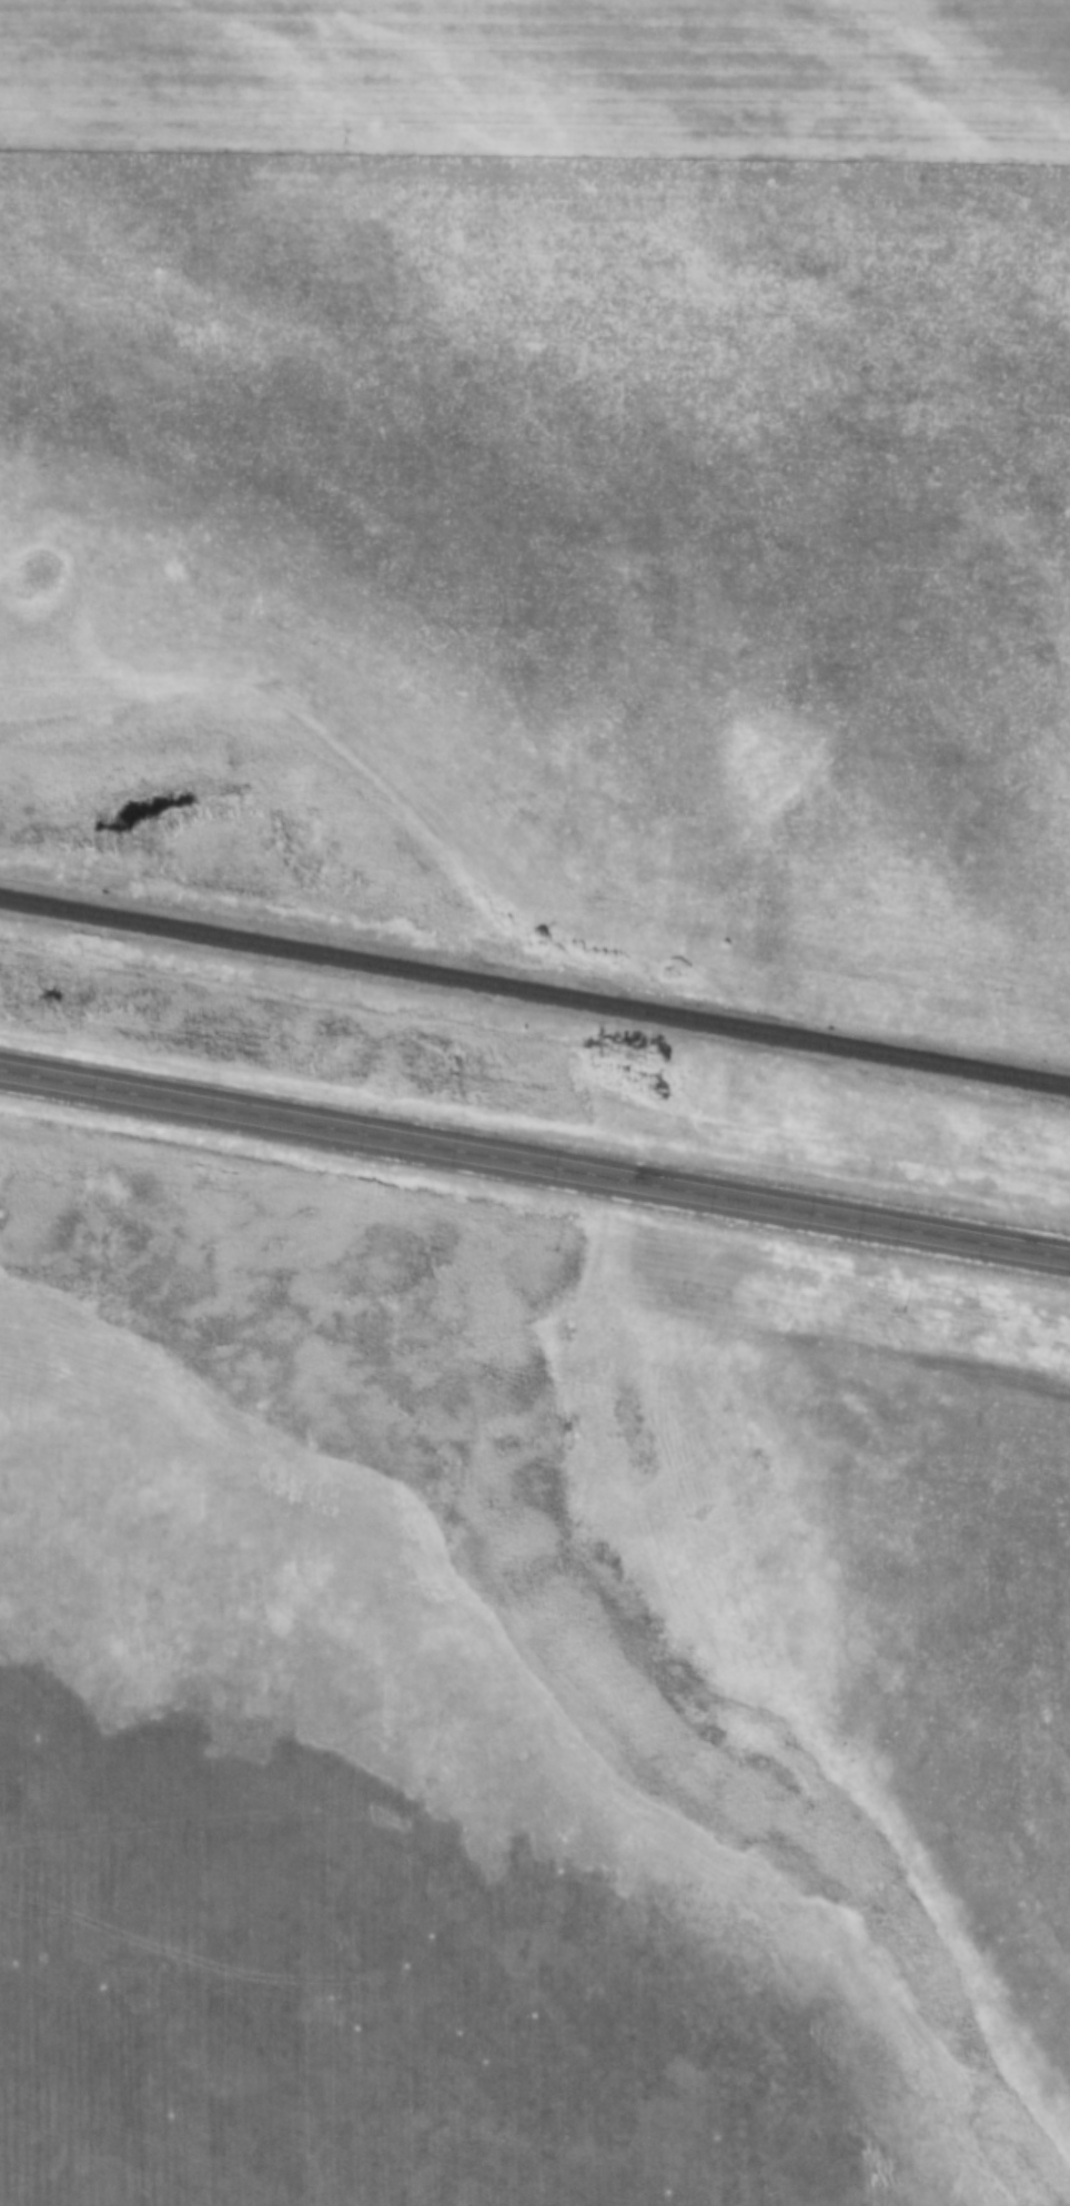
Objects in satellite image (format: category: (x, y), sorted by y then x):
railway: (535, 991)
road: (534, 1164)

